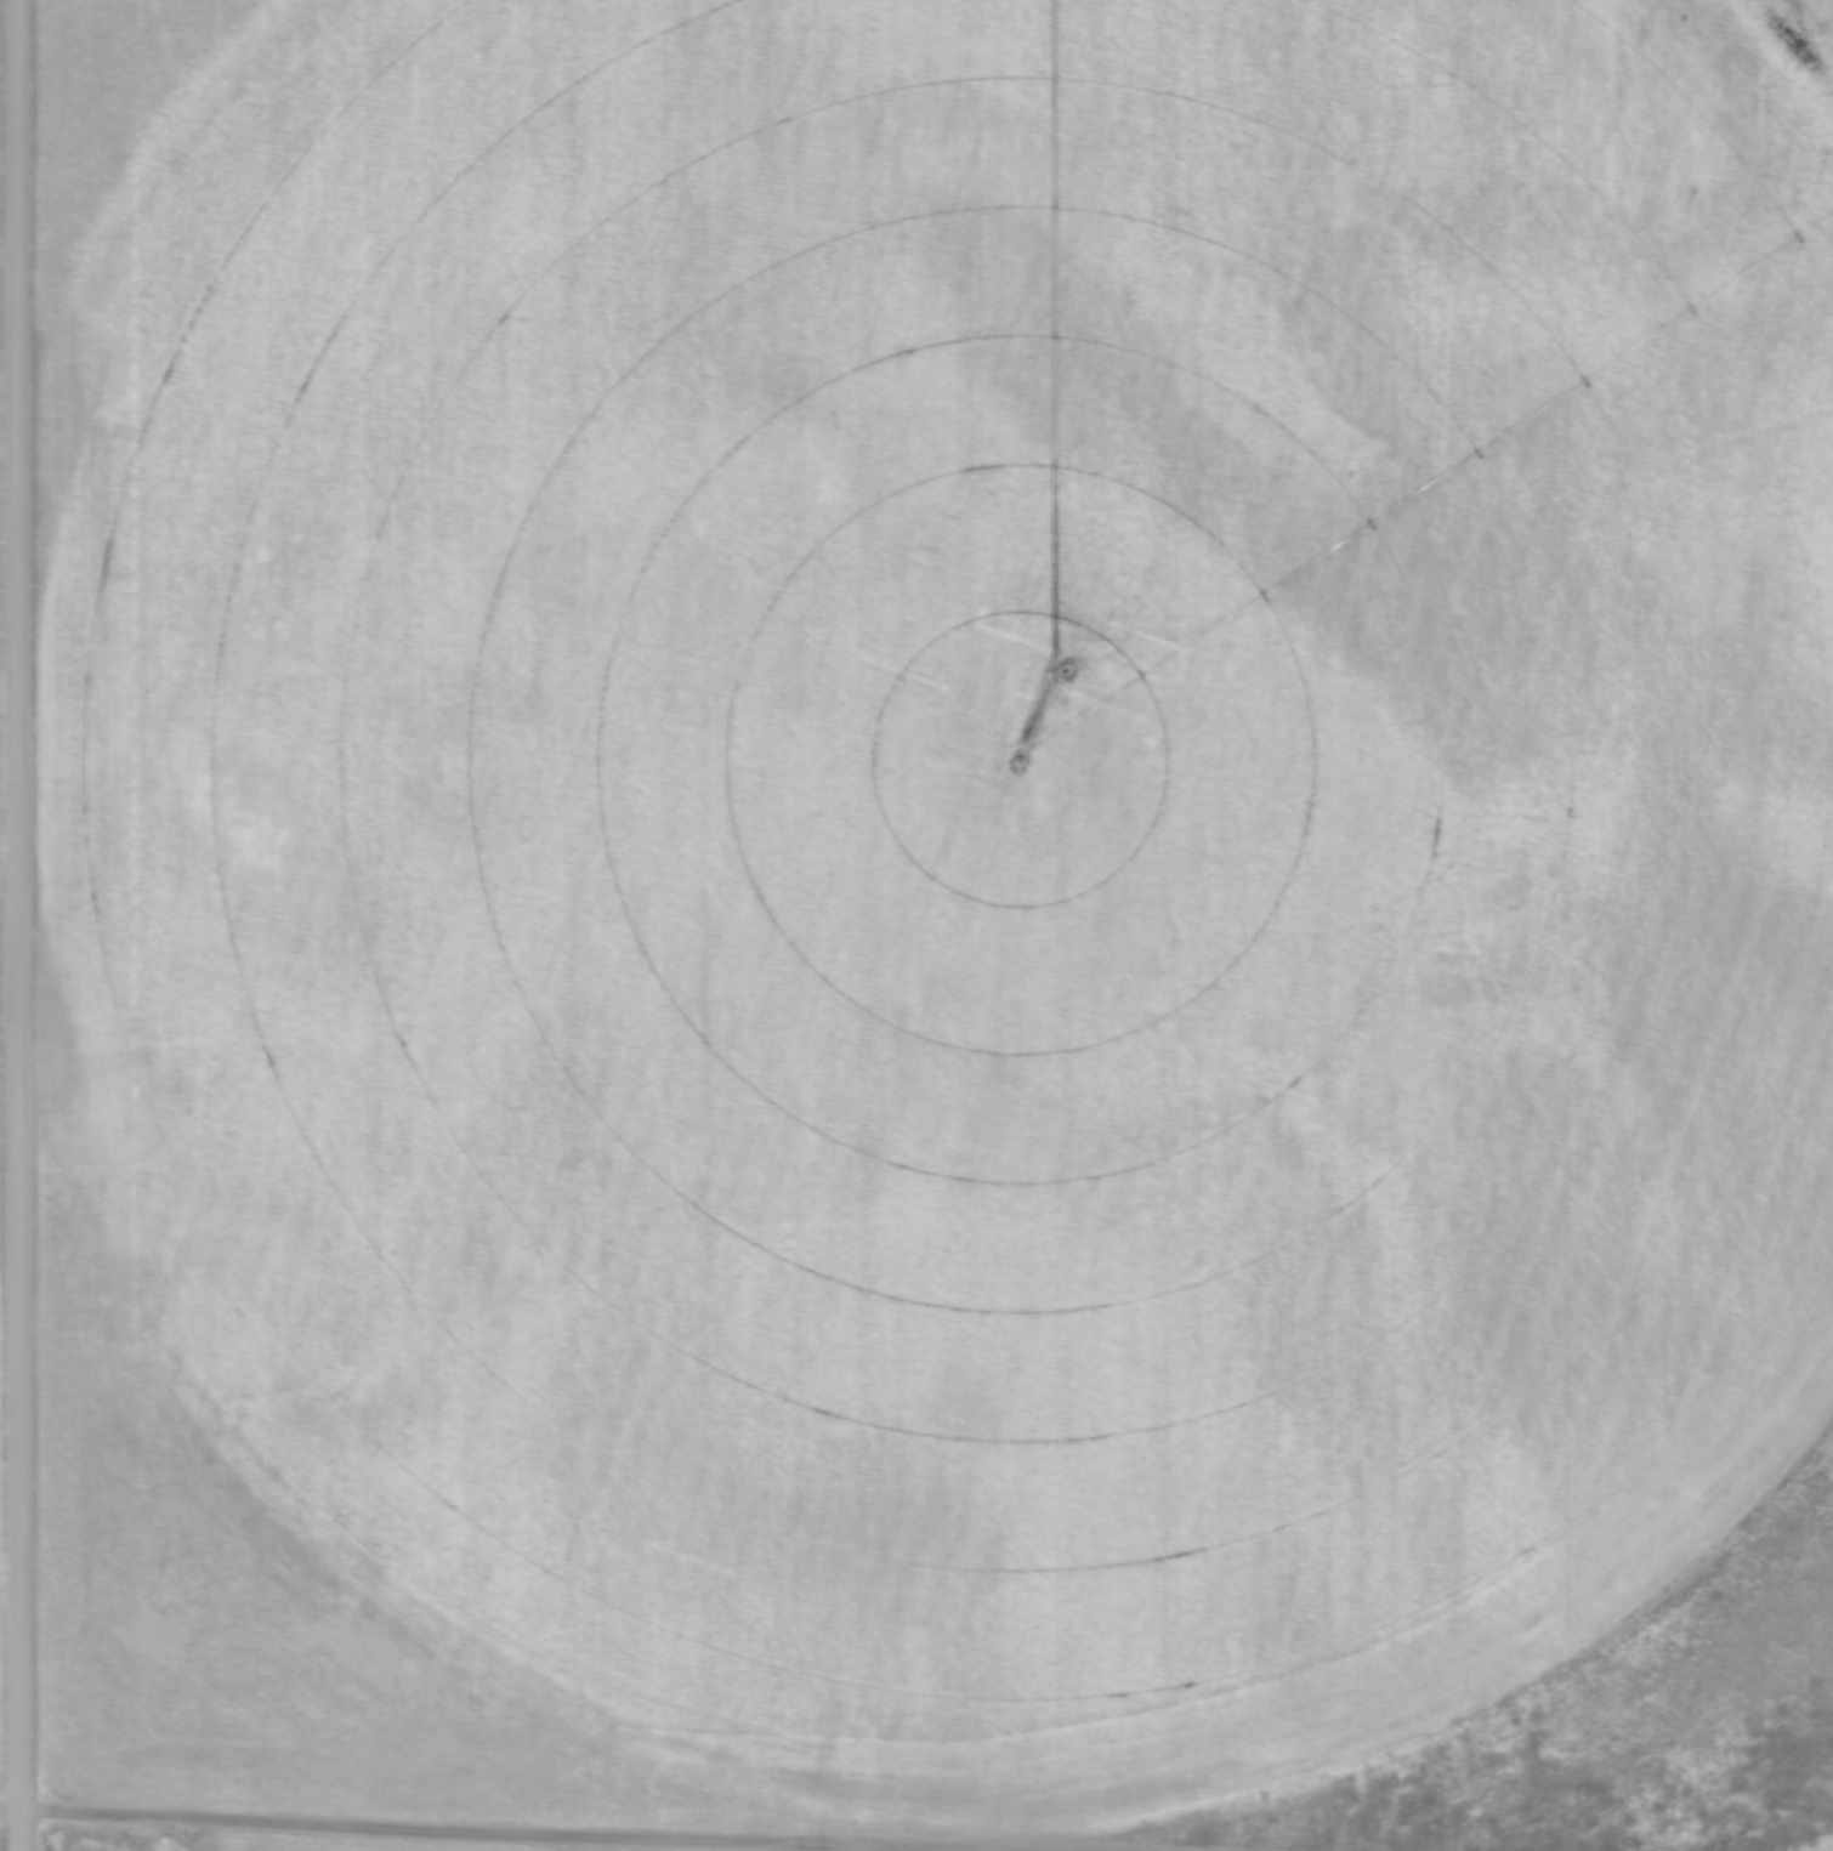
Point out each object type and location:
crop: (913, 882)
road: (15, 925)
crop: (339, 1843)

